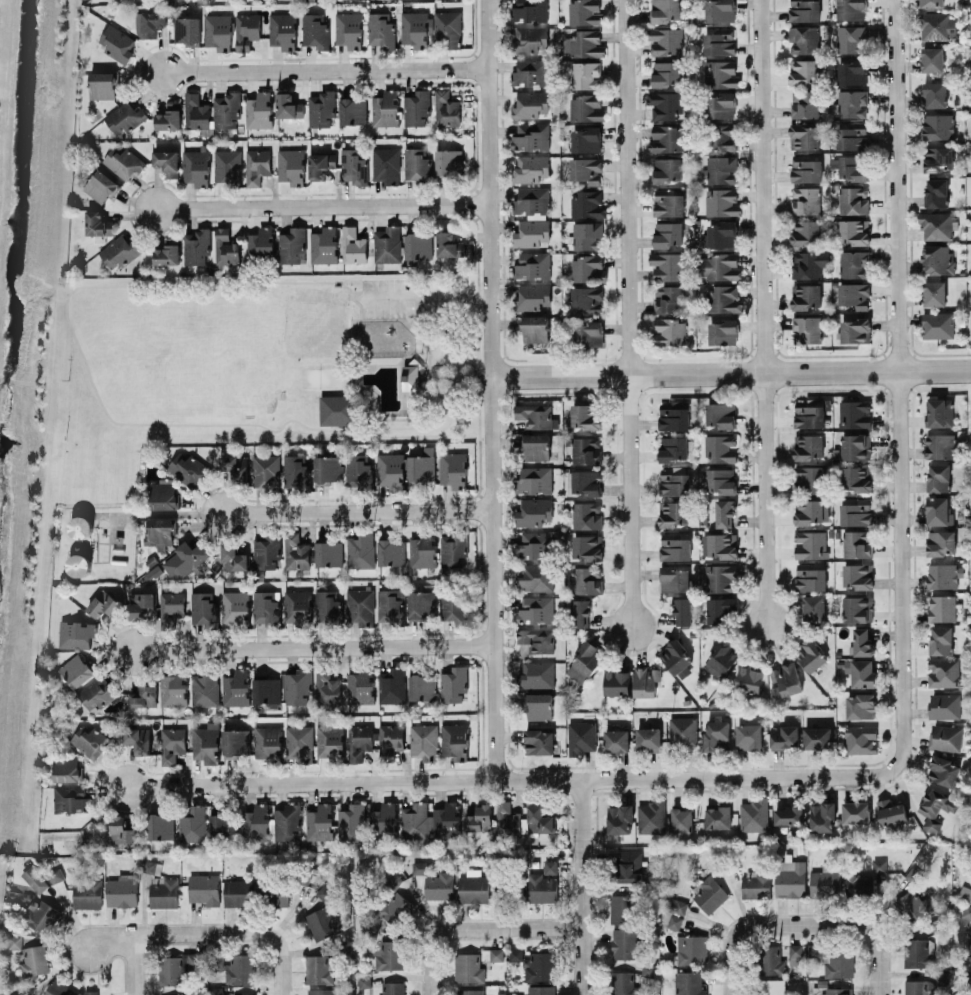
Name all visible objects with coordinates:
building: (130, 0)
building: (931, 3)
building: (851, 9)
building: (529, 10)
building: (665, 10)
building: (719, 10)
building: (804, 10)
building: (584, 11)
building: (150, 22)
building: (936, 25)
building: (416, 27)
building: (448, 27)
building: (246, 29)
building: (282, 29)
building: (348, 29)
building: (380, 29)
building: (187, 30)
building: (315, 30)
building: (218, 31)
building: (803, 38)
building: (851, 38)
building: (530, 39)
building: (665, 39)
building: (719, 41)
building: (117, 43)
building: (583, 43)
building: (932, 58)
road: (326, 67)
building: (852, 70)
building: (530, 71)
building: (803, 71)
building: (666, 72)
building: (720, 73)
building: (585, 74)
building: (103, 84)
building: (934, 93)
building: (852, 102)
building: (530, 103)
building: (805, 103)
building: (666, 104)
building: (721, 104)
building: (287, 105)
building: (322, 107)
building: (416, 107)
building: (585, 107)
building: (385, 108)
building: (446, 108)
building: (226, 109)
building: (259, 109)
building: (352, 110)
building: (195, 111)
building: (168, 116)
building: (124, 117)
building: (938, 125)
building: (530, 136)
building: (722, 136)
building: (804, 136)
building: (851, 136)
building: (666, 138)
building: (586, 139)
building: (937, 157)
building: (122, 161)
building: (166, 161)
building: (448, 161)
building: (320, 163)
building: (416, 163)
building: (354, 164)
building: (386, 164)
building: (227, 165)
building: (256, 165)
building: (291, 165)
building: (196, 166)
building: (852, 167)
building: (530, 168)
building: (585, 168)
building: (720, 168)
building: (806, 168)
building: (667, 169)
building: (101, 185)
building: (936, 192)
building: (805, 199)
building: (853, 199)
building: (532, 201)
building: (722, 201)
building: (667, 202)
building: (588, 203)
road: (323, 204)
building: (98, 222)
building: (936, 225)
building: (854, 230)
building: (531, 232)
building: (806, 232)
building: (669, 233)
building: (721, 233)
building: (586, 234)
building: (261, 241)
building: (387, 243)
building: (324, 244)
building: (353, 244)
building: (448, 244)
building: (196, 245)
building: (292, 245)
building: (418, 245)
building: (225, 246)
building: (120, 250)
building: (167, 251)
building: (937, 258)
building: (807, 263)
building: (854, 263)
building: (532, 265)
building: (667, 265)
building: (718, 266)
building: (587, 268)
building: (934, 292)
building: (854, 294)
building: (806, 295)
road: (431, 296)
building: (532, 296)
road: (23, 297)
parking lot: (386, 297)
building: (667, 298)
building: (724, 298)
road: (56, 299)
building: (586, 299)
road: (631, 312)
road: (765, 312)
park: (314, 321)
building: (937, 324)
building: (534, 327)
building: (806, 329)
building: (855, 329)
building: (668, 331)
building: (723, 331)
building: (587, 333)
park: (265, 358)
road: (428, 363)
road: (731, 373)
road: (459, 376)
building: (410, 377)
road: (901, 386)
road: (491, 389)
building: (335, 409)
building: (939, 411)
building: (808, 412)
building: (854, 412)
building: (535, 414)
building: (720, 414)
building: (585, 415)
road: (335, 428)
building: (808, 445)
building: (856, 445)
building: (939, 445)
building: (536, 446)
building: (720, 447)
building: (673, 448)
building: (586, 449)
building: (235, 465)
building: (422, 466)
building: (187, 468)
building: (328, 468)
building: (453, 468)
building: (391, 469)
building: (266, 470)
building: (358, 470)
building: (296, 471)
building: (938, 476)
building: (808, 478)
building: (856, 478)
building: (534, 479)
building: (674, 479)
building: (721, 480)
building: (584, 481)
building: (163, 493)
road: (359, 510)
building: (811, 510)
building: (938, 510)
building: (533, 511)
building: (673, 512)
building: (724, 512)
building: (856, 512)
building: (586, 514)
building: (80, 526)
building: (160, 531)
building: (941, 542)
building: (810, 543)
building: (857, 543)
building: (533, 544)
building: (719, 544)
building: (587, 546)
building: (674, 546)
building: (453, 548)
building: (360, 549)
building: (421, 550)
building: (266, 551)
building: (295, 551)
building: (390, 551)
building: (328, 552)
building: (233, 557)
building: (185, 558)
building: (78, 564)
building: (943, 574)
building: (857, 575)
building: (810, 576)
building: (535, 577)
building: (720, 577)
building: (674, 578)
building: (587, 579)
building: (103, 603)
building: (421, 603)
building: (456, 604)
building: (140, 605)
building: (171, 605)
building: (297, 605)
building: (327, 605)
building: (360, 605)
building: (389, 605)
building: (265, 606)
building: (813, 606)
building: (203, 607)
building: (941, 607)
building: (720, 608)
building: (857, 608)
building: (535, 609)
building: (682, 610)
building: (580, 612)
building: (76, 633)
building: (536, 638)
building: (941, 639)
road: (312, 644)
building: (810, 654)
building: (721, 658)
building: (677, 659)
building: (585, 661)
building: (74, 671)
building: (860, 671)
building: (943, 671)
building: (536, 674)
building: (749, 678)
building: (645, 680)
building: (617, 682)
building: (453, 683)
building: (298, 685)
building: (391, 685)
building: (359, 686)
building: (236, 687)
building: (327, 687)
building: (422, 687)
building: (173, 689)
building: (205, 689)
building: (266, 689)
building: (96, 692)
building: (143, 695)
building: (538, 705)
building: (860, 705)
building: (944, 705)
building: (682, 731)
building: (716, 734)
building: (749, 735)
building: (784, 735)
building: (581, 736)
building: (816, 737)
building: (945, 737)
building: (648, 738)
building: (860, 738)
building: (138, 739)
building: (616, 739)
building: (90, 740)
building: (360, 740)
building: (390, 740)
building: (424, 740)
building: (454, 740)
building: (267, 741)
building: (329, 741)
building: (538, 741)
building: (206, 742)
building: (236, 742)
building: (299, 742)
building: (172, 743)
building: (67, 767)
building: (943, 770)
road: (507, 779)
building: (71, 798)
building: (936, 808)
building: (856, 811)
building: (890, 811)
building: (753, 814)
building: (788, 814)
building: (718, 815)
building: (650, 816)
building: (822, 816)
building: (477, 817)
building: (619, 818)
building: (383, 819)
building: (446, 819)
building: (522, 819)
building: (681, 819)
building: (287, 820)
building: (351, 820)
building: (415, 820)
building: (257, 821)
building: (319, 821)
building: (193, 824)
building: (160, 825)
building: (222, 825)
building: (121, 829)
building: (627, 865)
building: (879, 865)
building: (550, 866)
building: (421, 867)
building: (55, 874)
building: (790, 878)
building: (34, 879)
building: (392, 880)
building: (824, 881)
building: (858, 881)
building: (439, 884)
building: (755, 884)
road: (584, 886)
building: (473, 887)
building: (542, 887)
building: (204, 888)
building: (122, 890)
building: (325, 890)
building: (164, 891)
building: (87, 892)
building: (238, 892)
building: (709, 892)
building: (966, 893)
building: (279, 895)
building: (913, 906)
building: (394, 907)
building: (621, 908)
building: (966, 911)
building: (673, 912)
building: (40, 915)
building: (322, 922)
road: (506, 928)
road: (741, 929)
road: (875, 929)
road: (234, 932)
road: (110, 936)
building: (14, 941)
building: (624, 942)
building: (969, 944)
building: (691, 948)
building: (795, 949)
building: (915, 951)
building: (496, 953)
building: (515, 953)
building: (388, 954)
building: (834, 958)
building: (34, 959)
building: (217, 960)
road: (132, 964)
road: (429, 964)
building: (539, 965)
building: (176, 966)
building: (468, 967)
building: (240, 968)
building: (318, 969)
building: (968, 978)
building: (623, 983)
building: (688, 983)
building: (770, 986)
building: (392, 987)
building: (918, 987)
building: (59, 988)
building: (540, 989)
building: (836, 990)
building: (320, 991)
building: (470, 991)
building: (90, 992)
building: (244, 994)
building: (970, 994)

